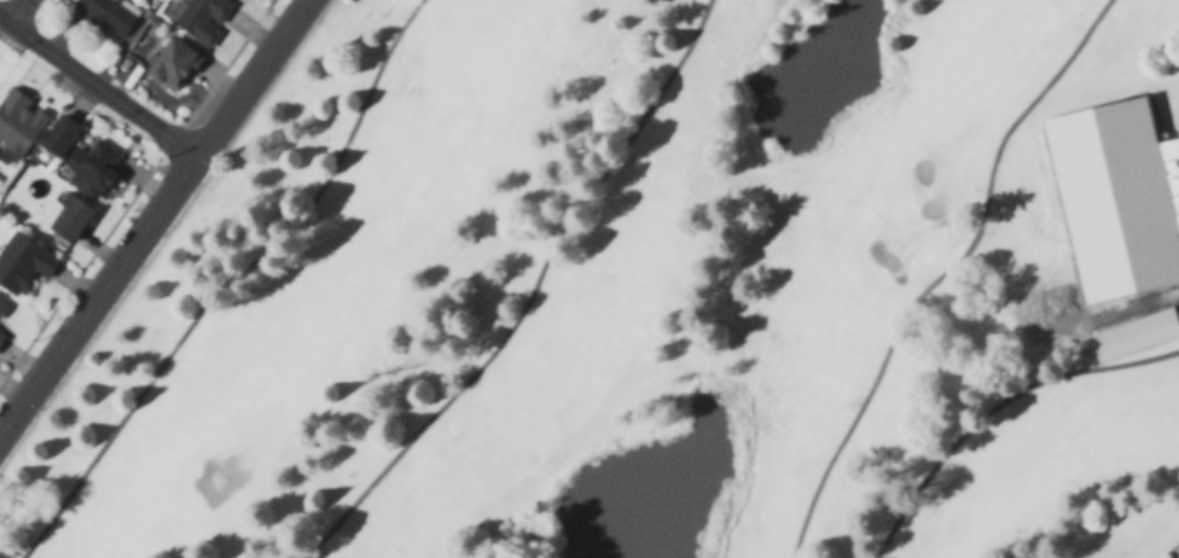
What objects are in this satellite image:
road: (21, 10)
building: (204, 14)
building: (108, 16)
building: (173, 62)
road: (98, 80)
building: (17, 127)
building: (60, 139)
building: (95, 167)
building: (1117, 197)
road: (151, 213)
building: (72, 215)
building: (25, 257)
road: (945, 273)
road: (230, 283)
road: (529, 295)
park: (654, 295)
building: (2, 306)
building: (1134, 329)
building: (4, 331)
road: (994, 407)

